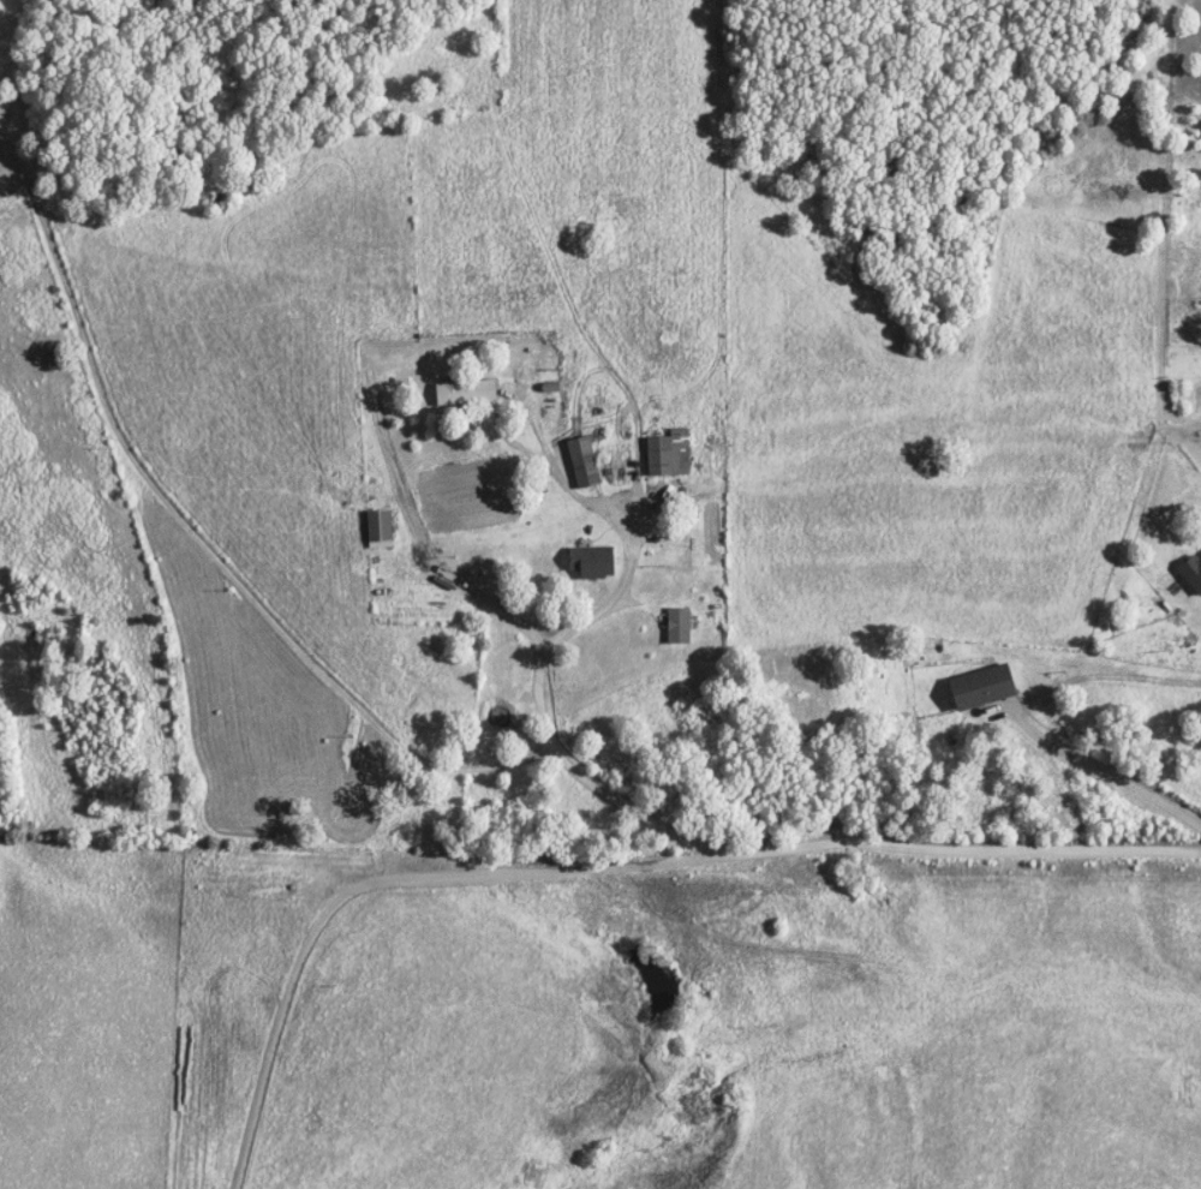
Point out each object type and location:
building: (461, 394)
road: (504, 441)
building: (668, 454)
building: (581, 462)
building: (376, 530)
road: (198, 536)
building: (590, 562)
building: (1190, 574)
building: (676, 627)
building: (976, 689)
road: (1028, 724)
road: (686, 844)
road: (365, 886)

